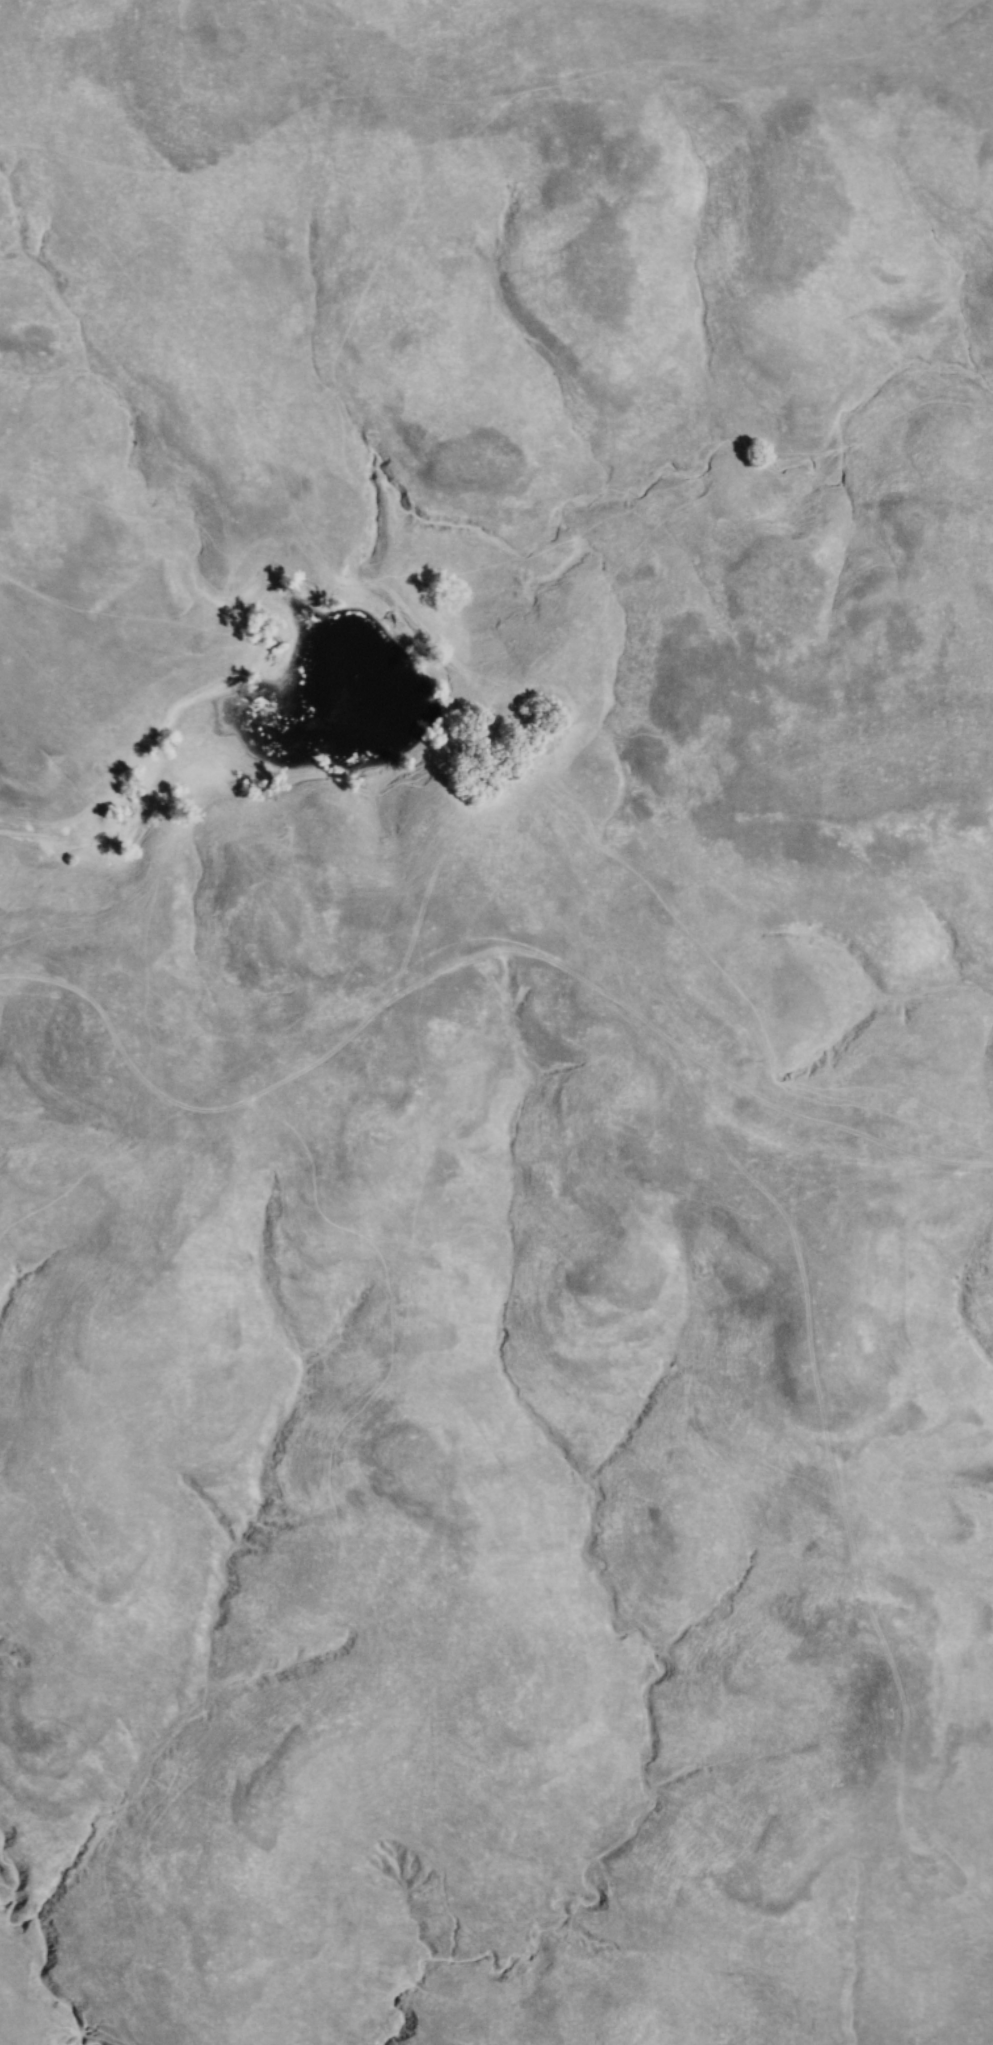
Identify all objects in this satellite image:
road: (473, 962)

